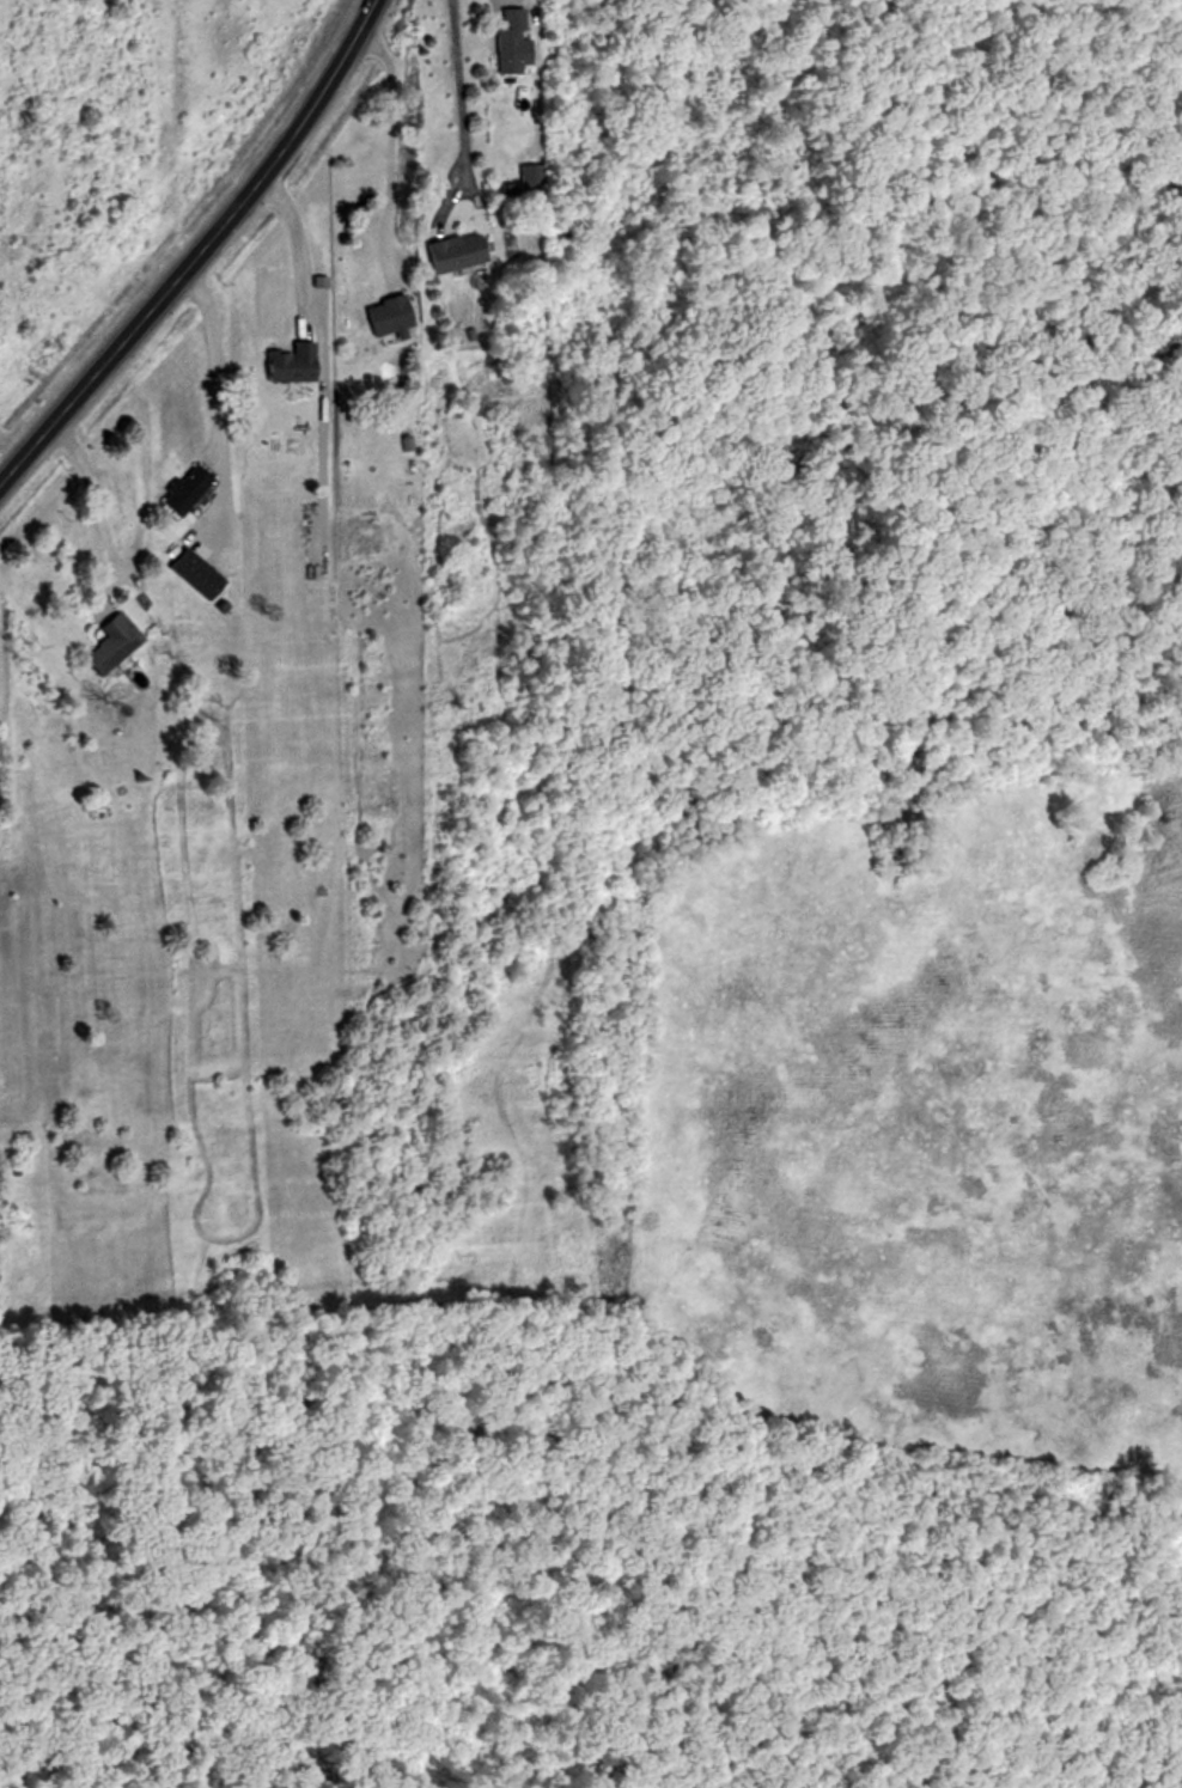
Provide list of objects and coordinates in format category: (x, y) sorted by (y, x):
building: (508, 50)
road: (462, 100)
road: (389, 132)
road: (298, 237)
road: (194, 246)
building: (452, 252)
building: (384, 319)
building: (288, 364)
road: (218, 378)
road: (90, 484)
building: (183, 490)
building: (191, 575)
building: (109, 645)

